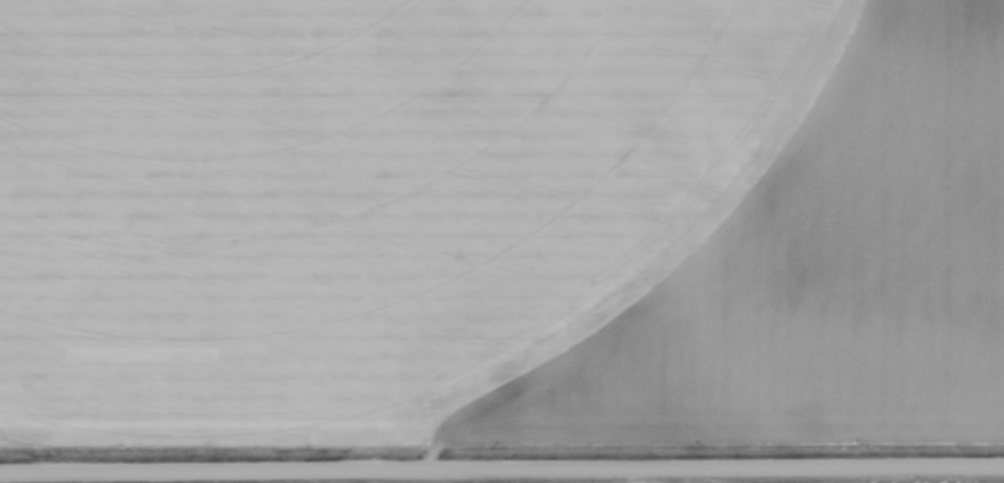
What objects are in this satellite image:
road: (502, 468)

